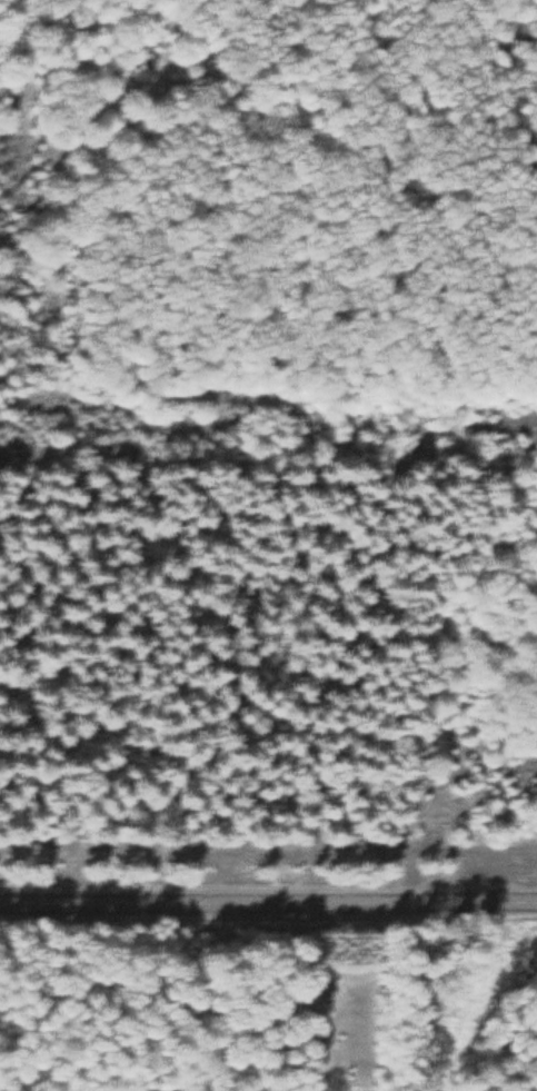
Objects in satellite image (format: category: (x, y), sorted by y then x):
road: (268, 904)

